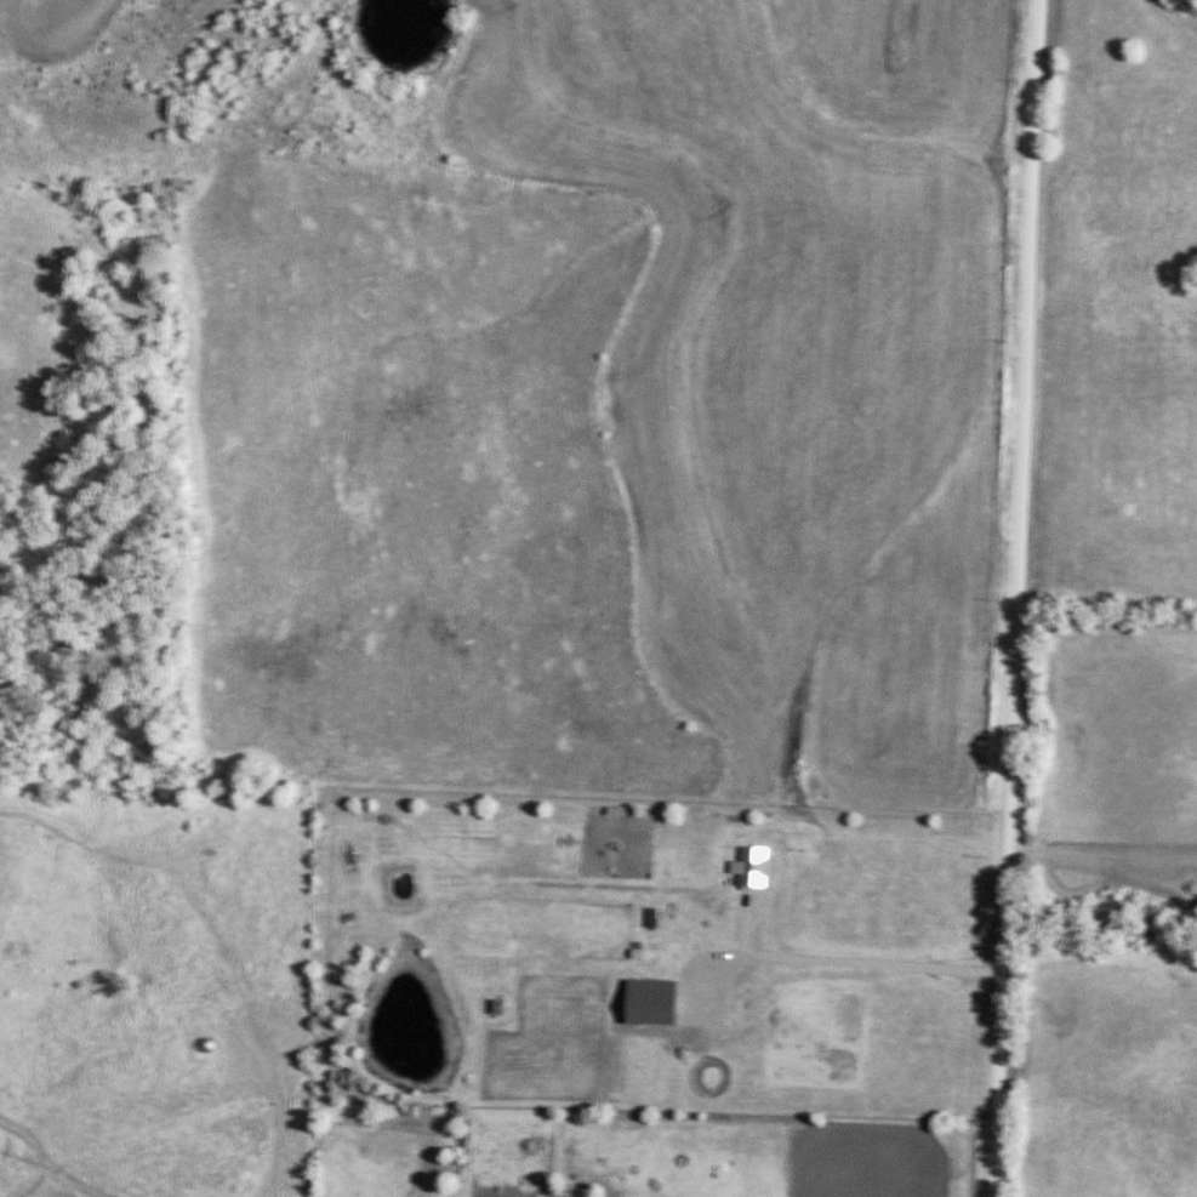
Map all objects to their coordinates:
road: (1014, 598)
road: (848, 961)

